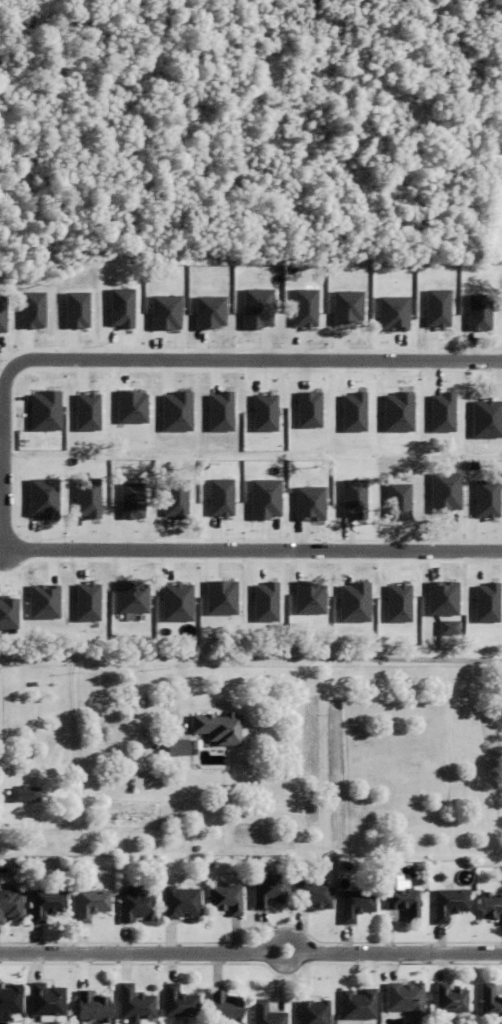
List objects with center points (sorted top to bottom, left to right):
building: (501, 150)
road: (2, 458)
road: (250, 656)
building: (218, 728)
building: (177, 748)
building: (24, 794)
building: (39, 845)
building: (472, 865)
building: (442, 878)
building: (269, 889)
building: (313, 895)
building: (401, 896)
building: (226, 899)
building: (181, 903)
building: (47, 904)
building: (91, 904)
building: (357, 904)
building: (450, 904)
building: (11, 905)
building: (137, 905)
building: (492, 906)
road: (251, 951)
building: (405, 997)
building: (452, 999)
building: (11, 1000)
building: (48, 1000)
building: (490, 1001)
building: (180, 1003)
building: (135, 1004)
building: (359, 1005)
building: (94, 1008)
building: (225, 1008)
building: (315, 1012)
building: (267, 1014)

